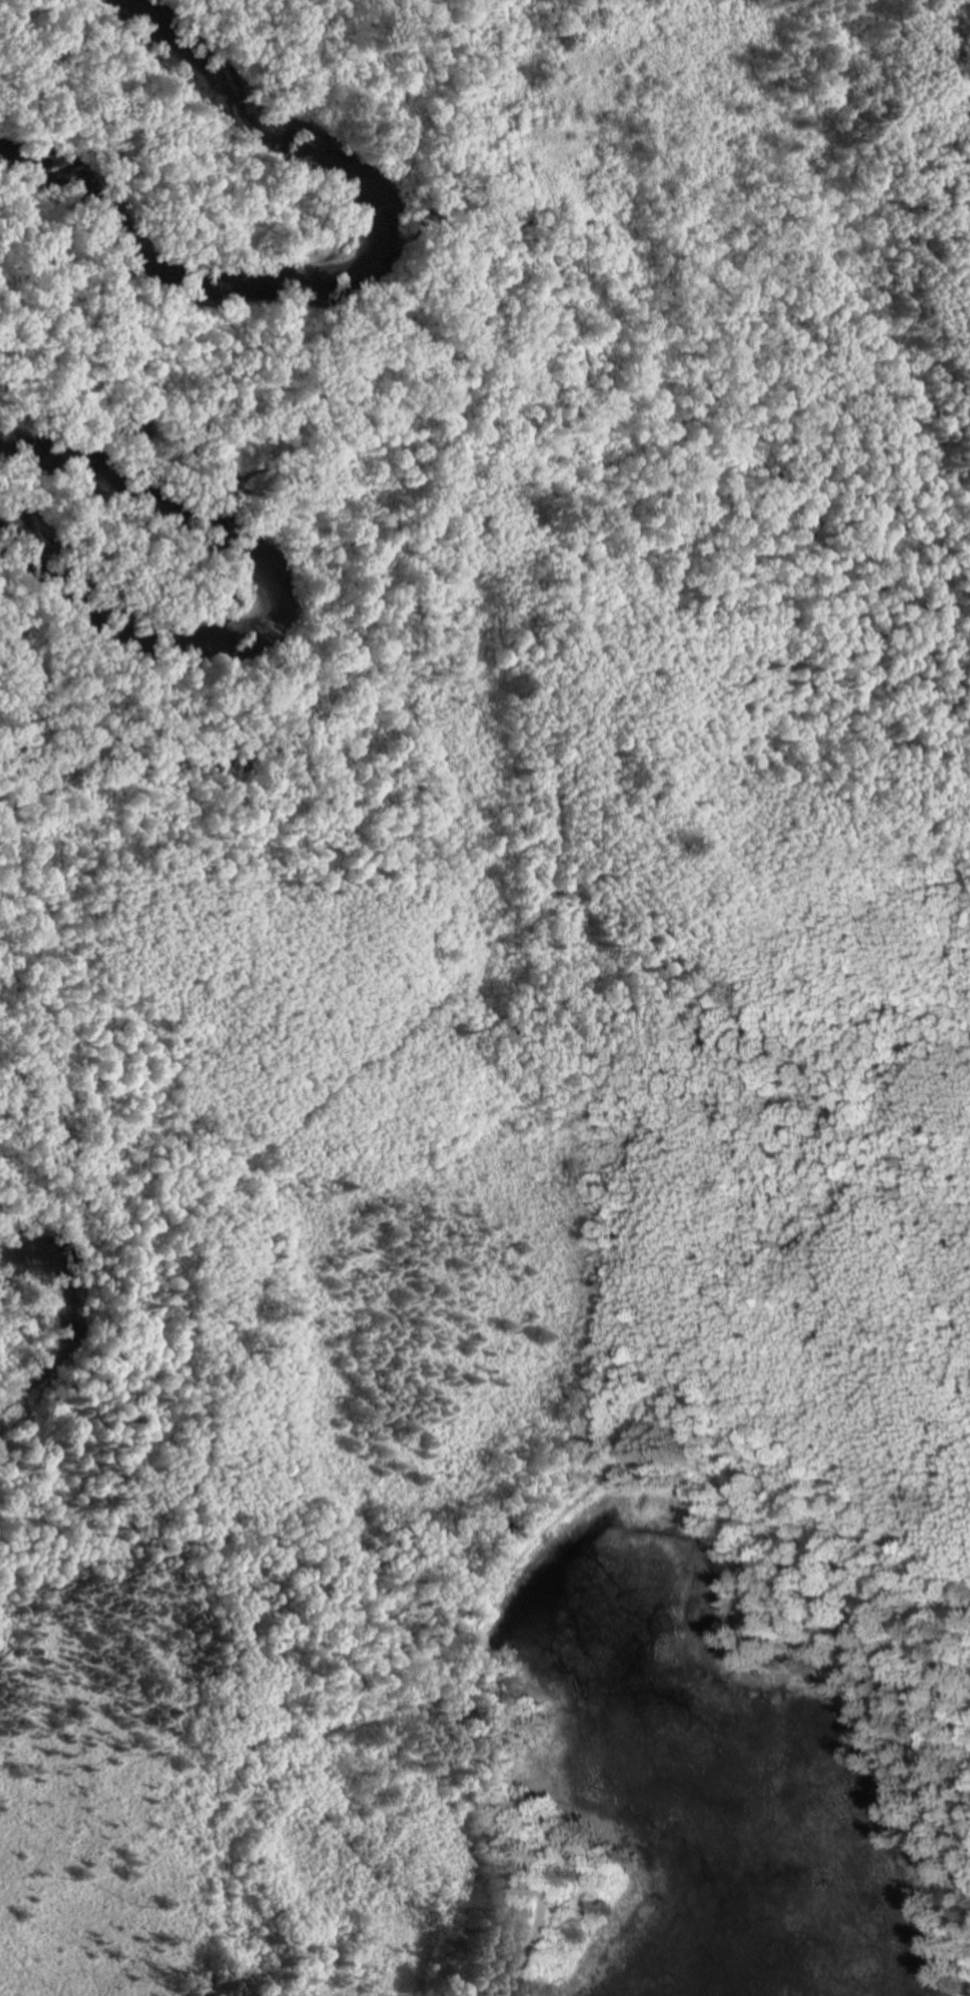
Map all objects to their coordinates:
river: (264, 113)
river: (164, 250)
river: (233, 577)

